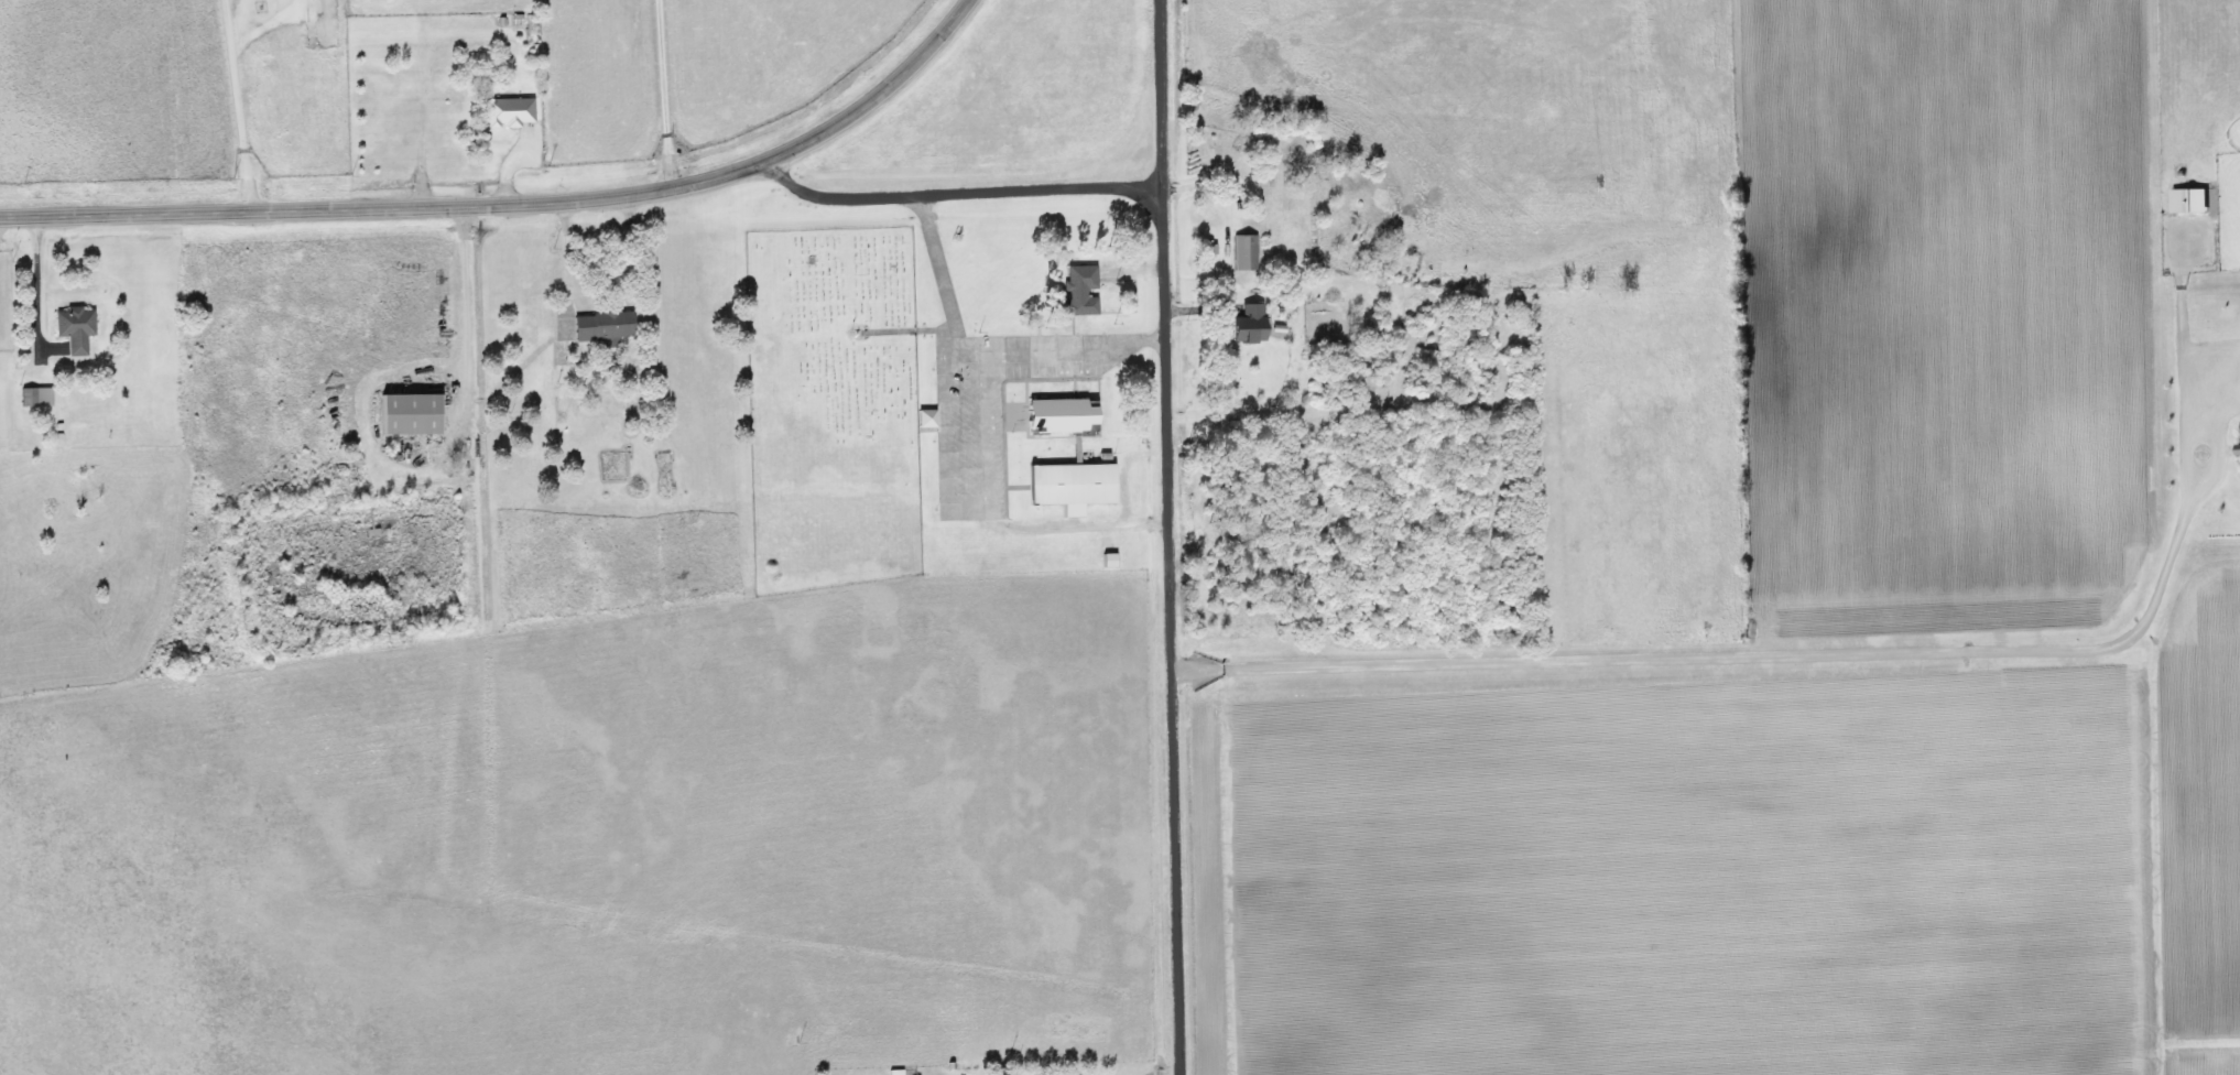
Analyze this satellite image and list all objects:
road: (662, 94)
road: (236, 106)
building: (508, 112)
building: (1221, 148)
road: (504, 172)
road: (956, 194)
road: (515, 206)
building: (1243, 252)
road: (564, 263)
road: (621, 263)
road: (937, 276)
road: (34, 286)
building: (1078, 290)
road: (461, 306)
building: (1247, 325)
building: (601, 328)
building: (73, 329)
road: (906, 332)
road: (1052, 355)
park: (829, 356)
building: (33, 398)
parking lot: (989, 410)
building: (407, 414)
building: (1061, 416)
building: (660, 460)
building: (1072, 487)
road: (964, 509)
road: (1164, 536)
road: (1753, 659)

